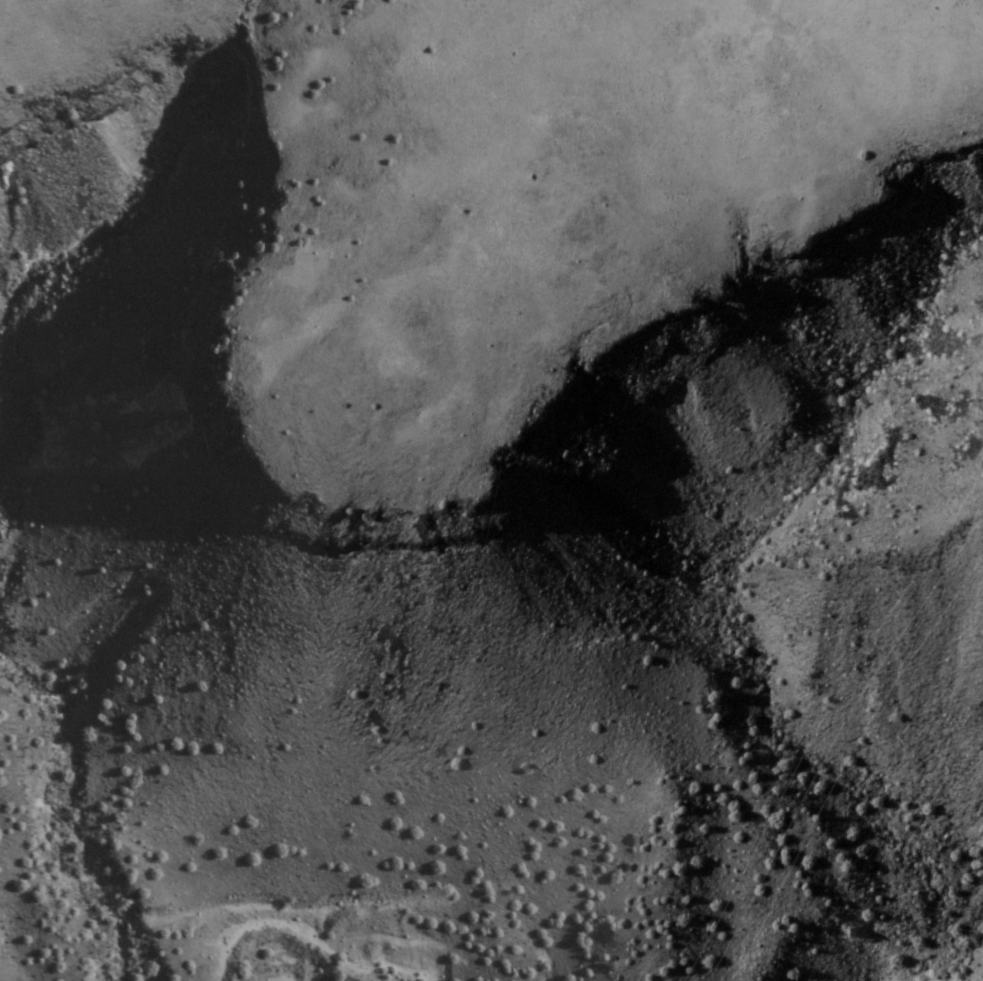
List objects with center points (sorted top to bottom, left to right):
road: (969, 6)

